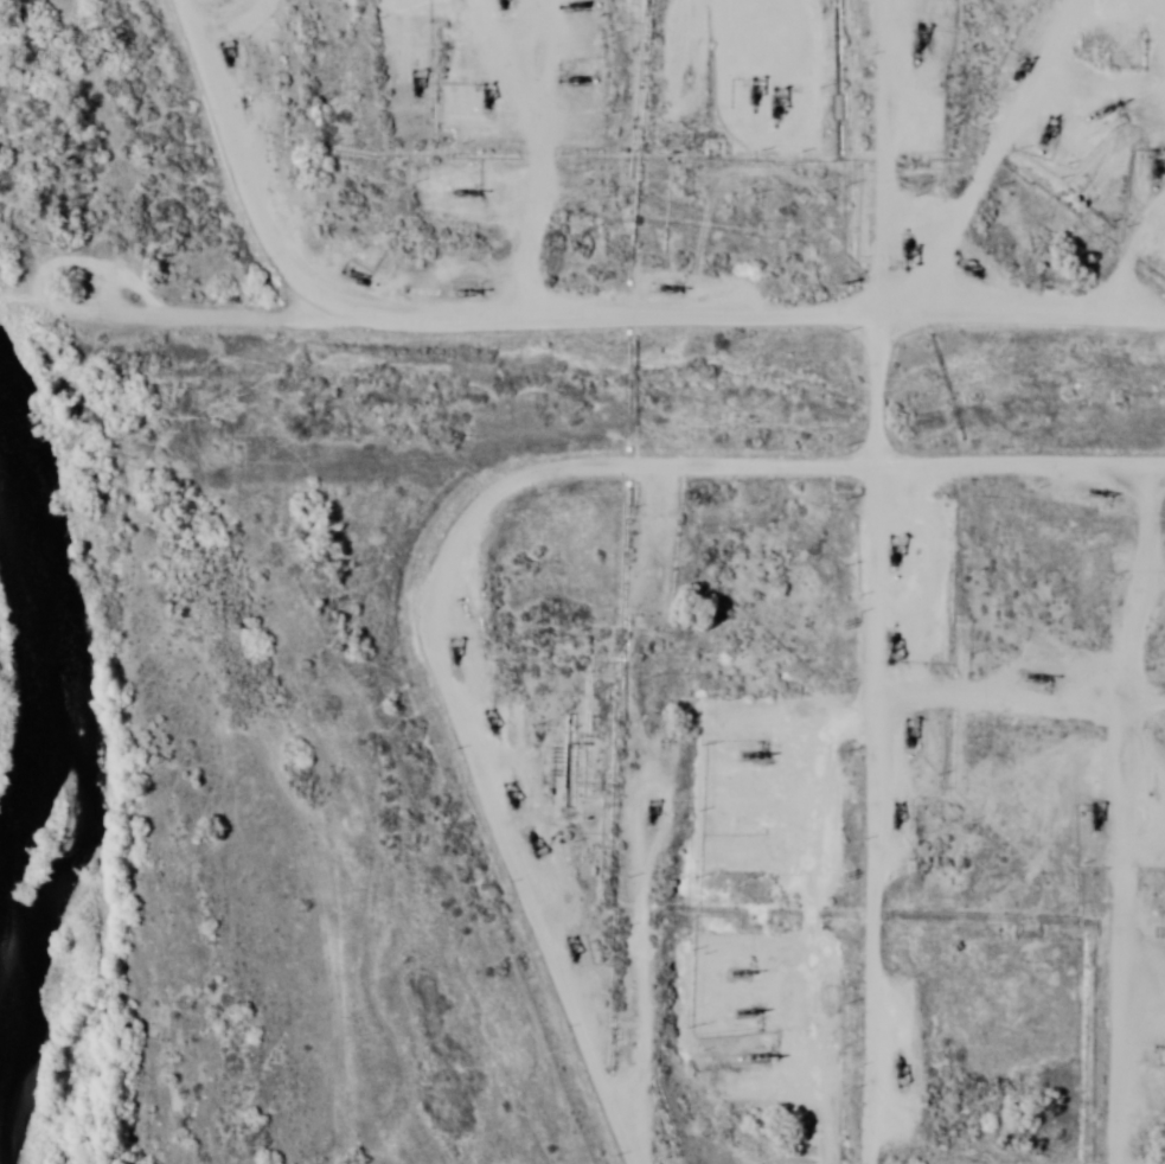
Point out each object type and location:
road: (286, 160)
road: (590, 165)
road: (1060, 168)
road: (894, 237)
road: (776, 343)
road: (824, 525)
road: (463, 527)
road: (635, 793)
road: (1065, 825)
river: (56, 843)
road: (834, 941)

